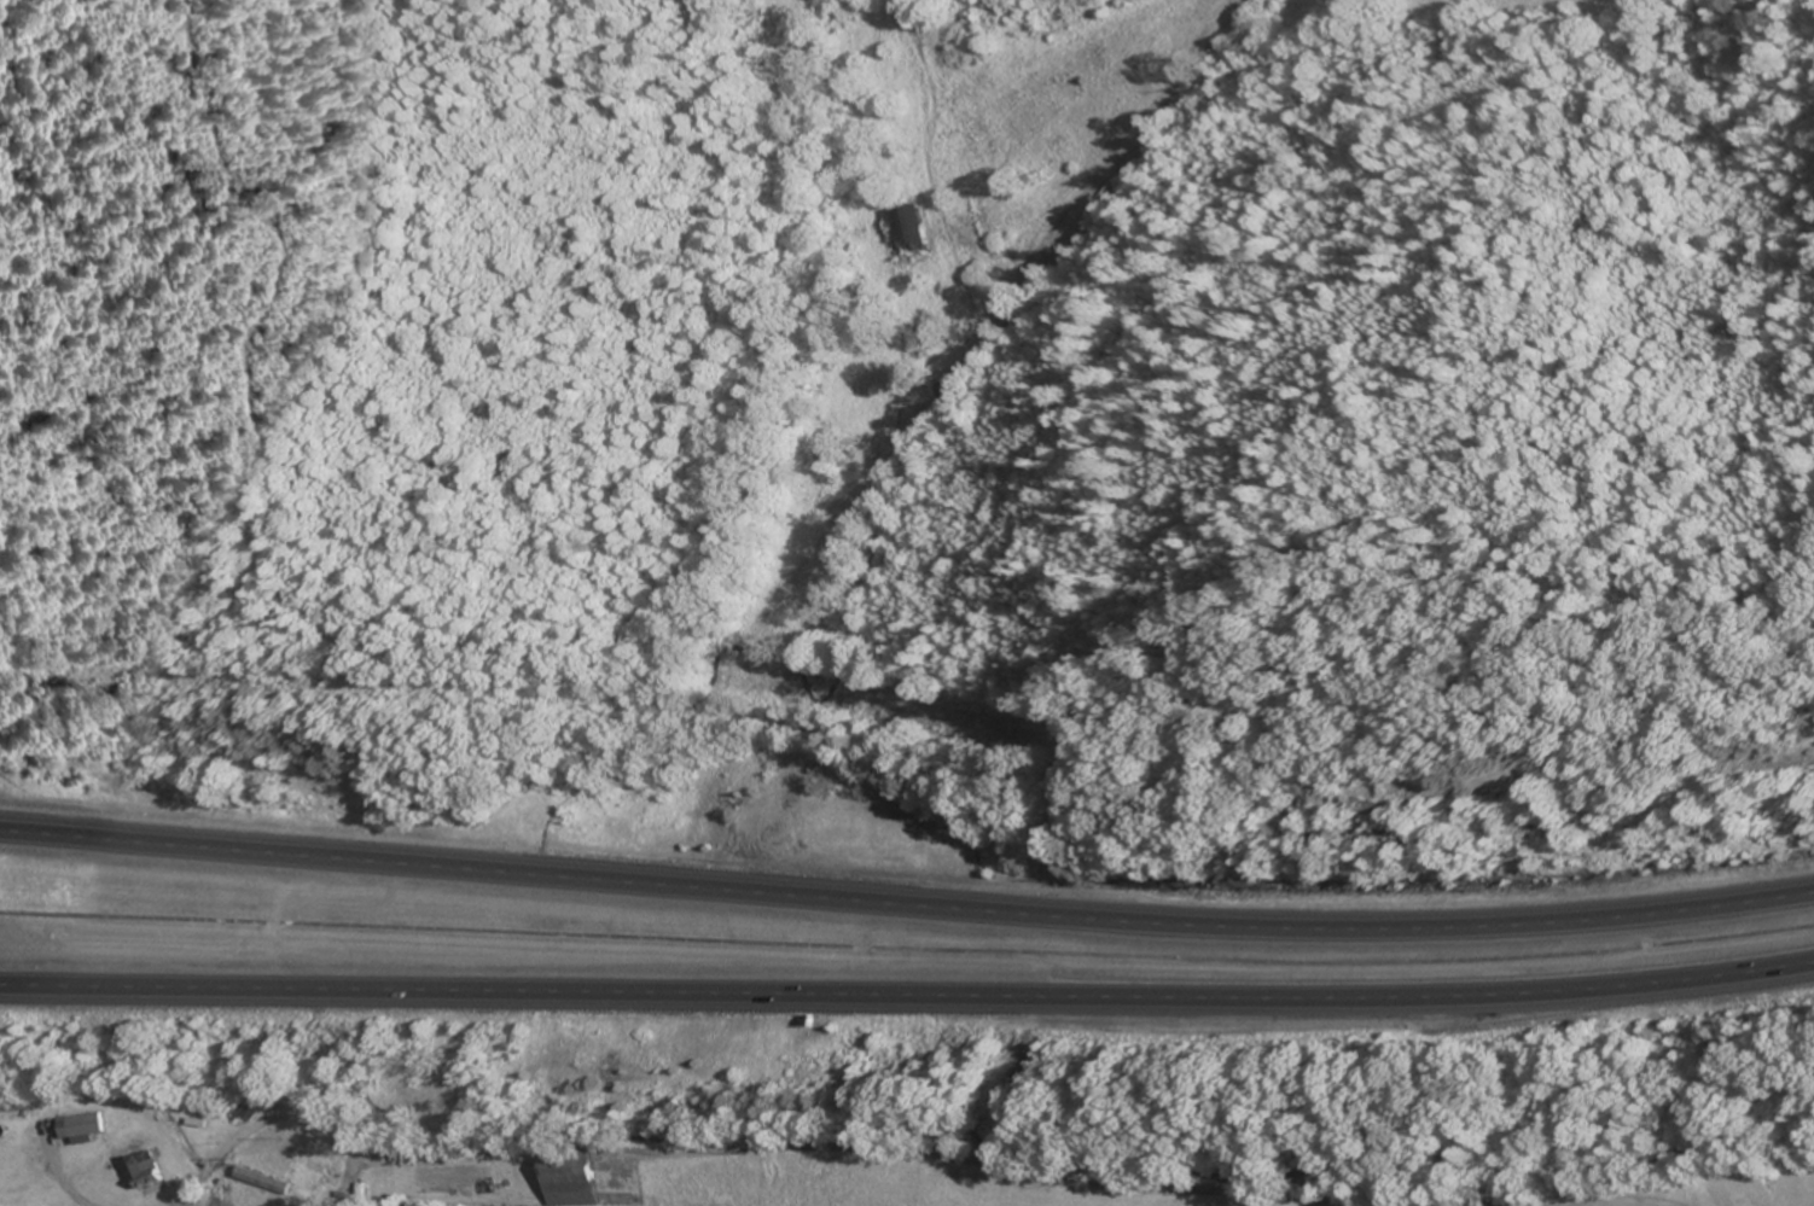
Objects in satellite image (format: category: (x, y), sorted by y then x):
building: (897, 228)
road: (907, 901)
road: (907, 1000)
building: (16, 1106)
road: (751, 1149)
building: (144, 1172)
building: (568, 1179)
building: (306, 1181)

